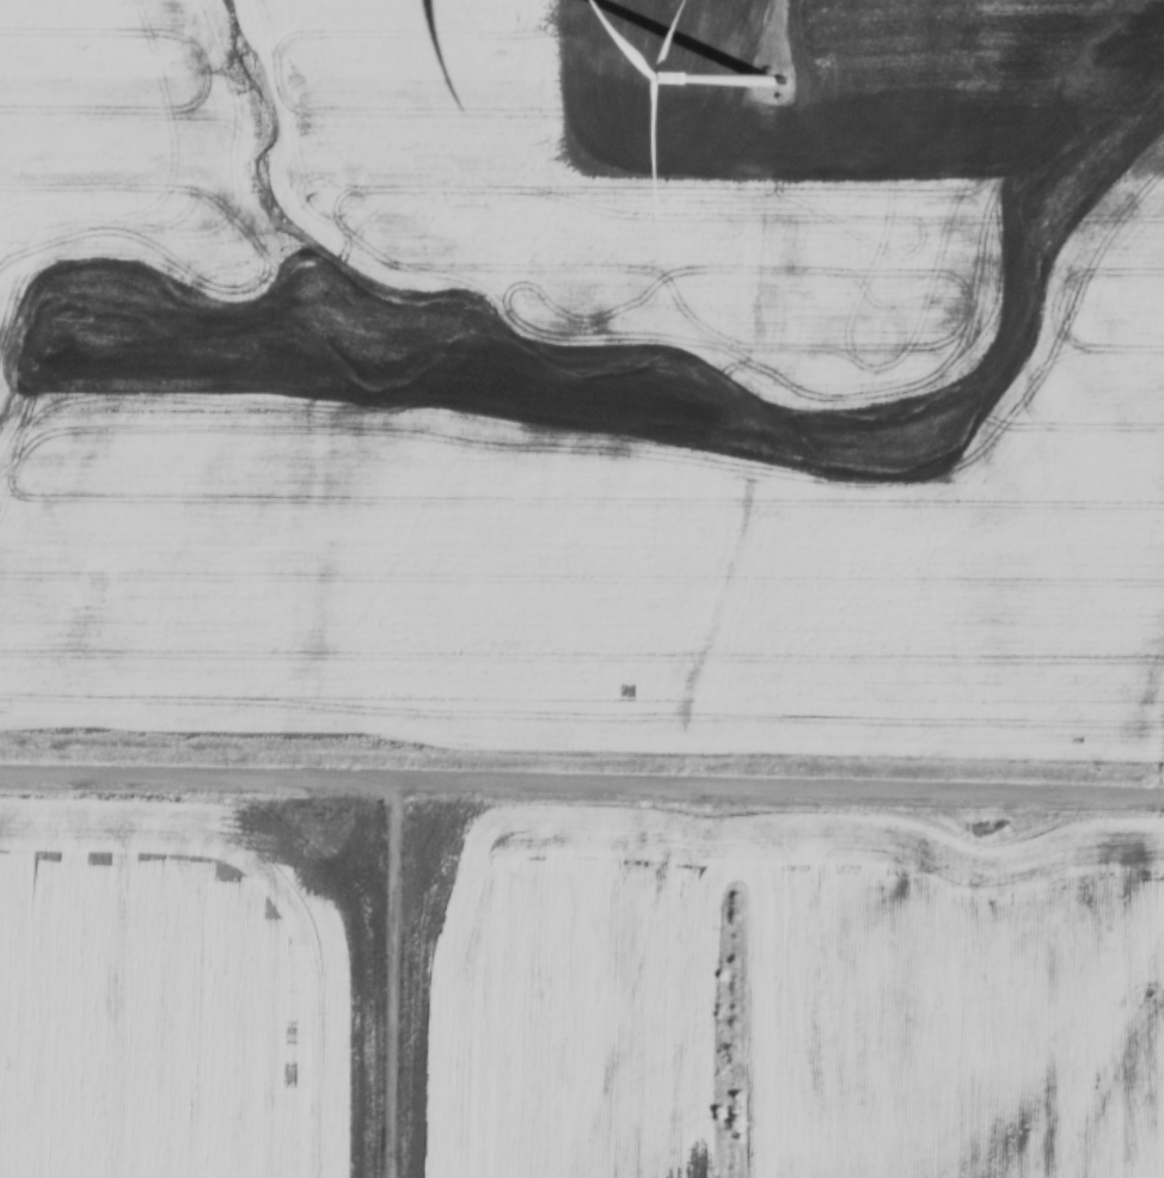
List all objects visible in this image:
wind turbine: (764, 90)
road: (582, 792)

